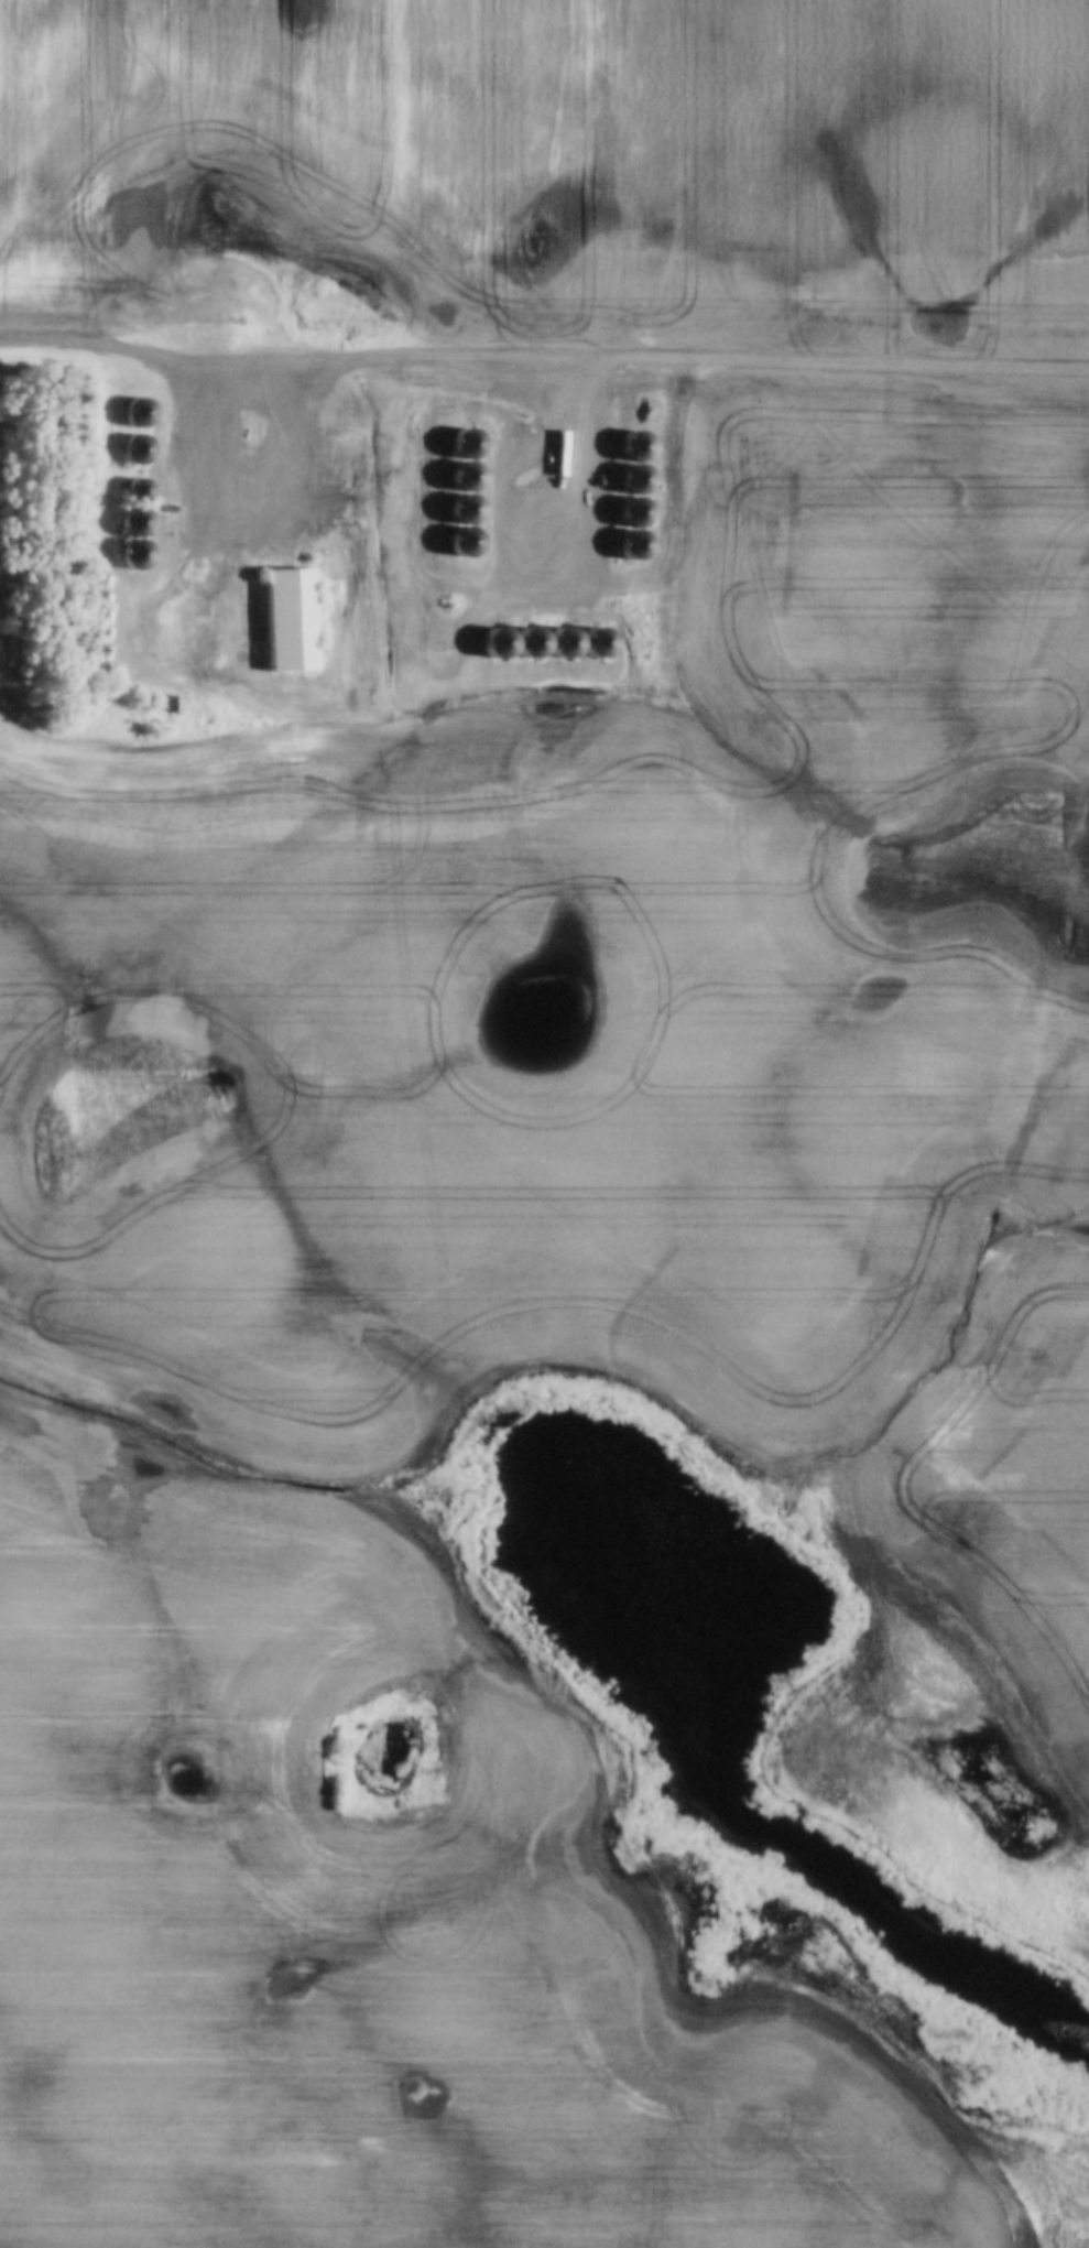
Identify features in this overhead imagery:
road: (542, 359)
building: (133, 414)
building: (456, 446)
building: (130, 452)
road: (556, 476)
building: (456, 485)
building: (128, 510)
road: (243, 533)
building: (456, 545)
building: (282, 620)
road: (128, 675)

